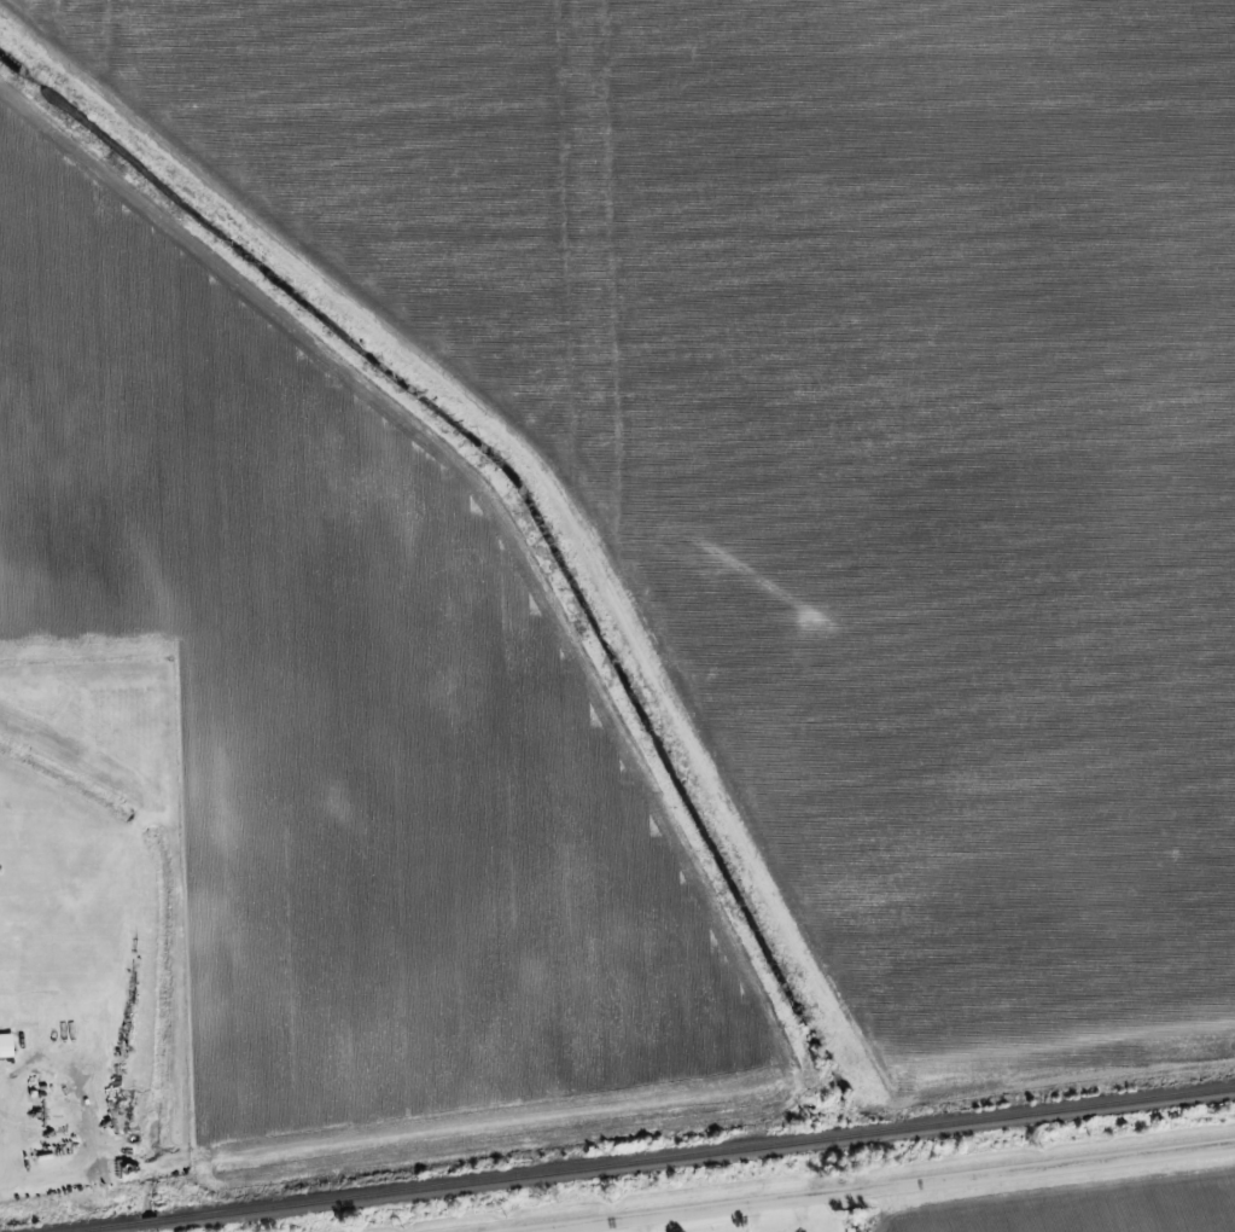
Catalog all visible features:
building: (8, 1047)
railway: (657, 1160)
road: (892, 1187)

